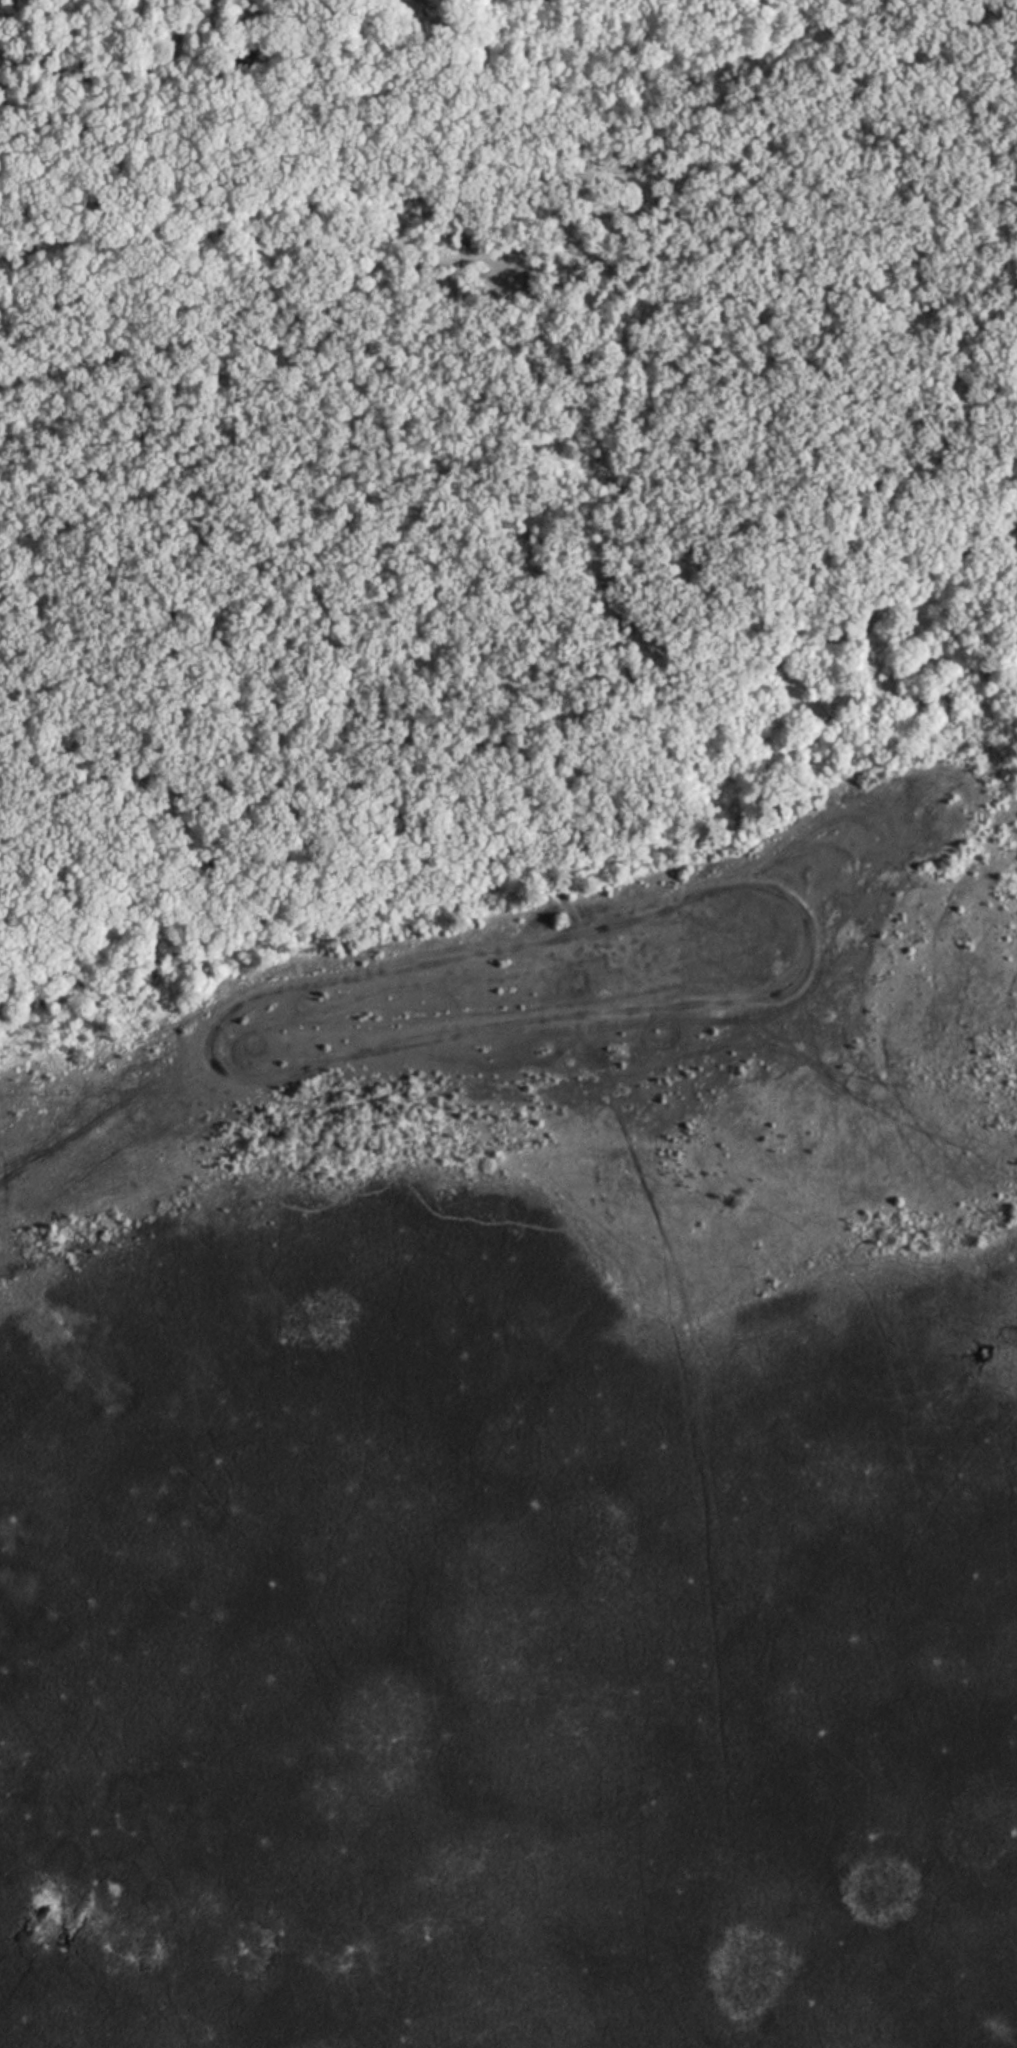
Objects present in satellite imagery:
road: (507, 247)

